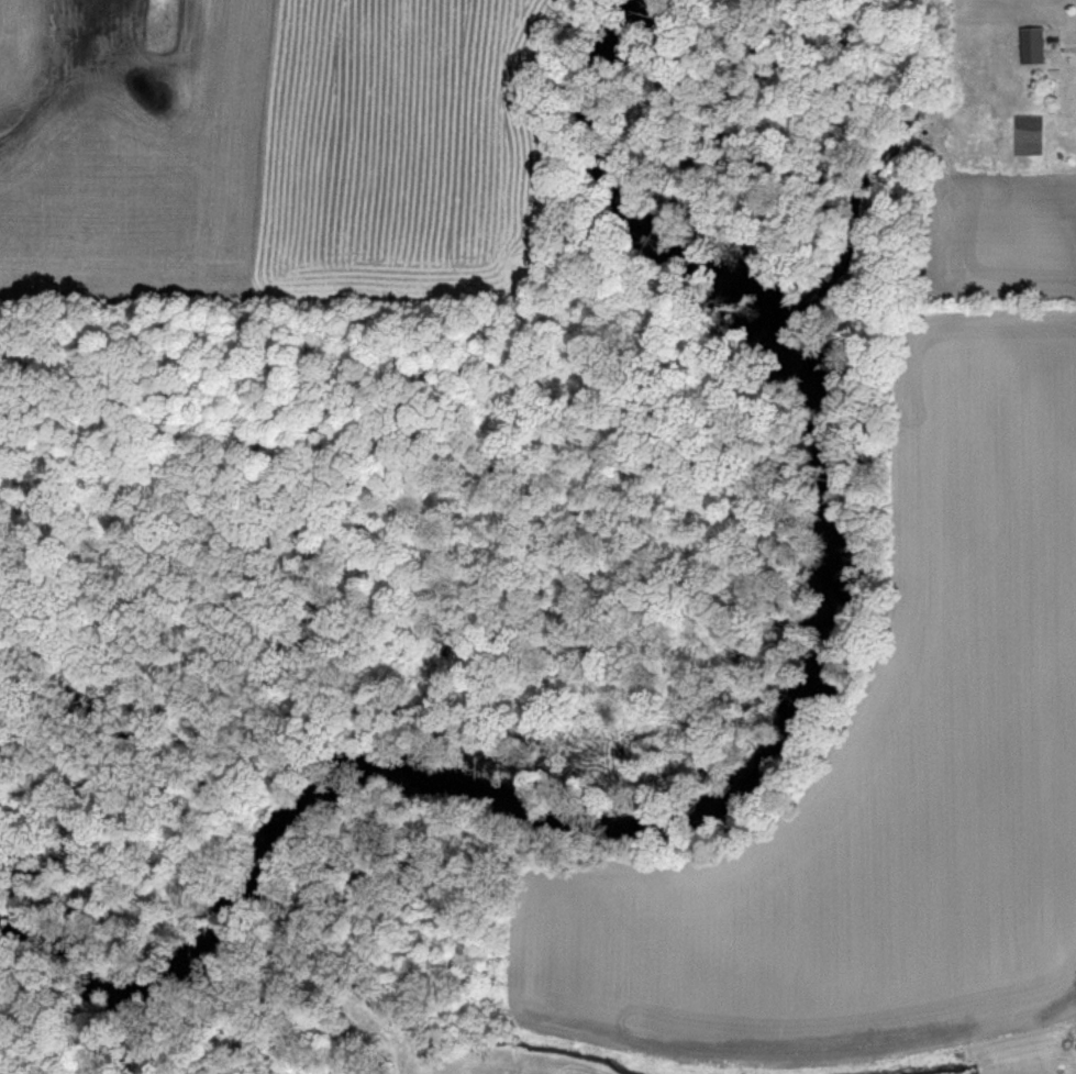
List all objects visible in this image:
building: (1031, 44)
river: (768, 741)

